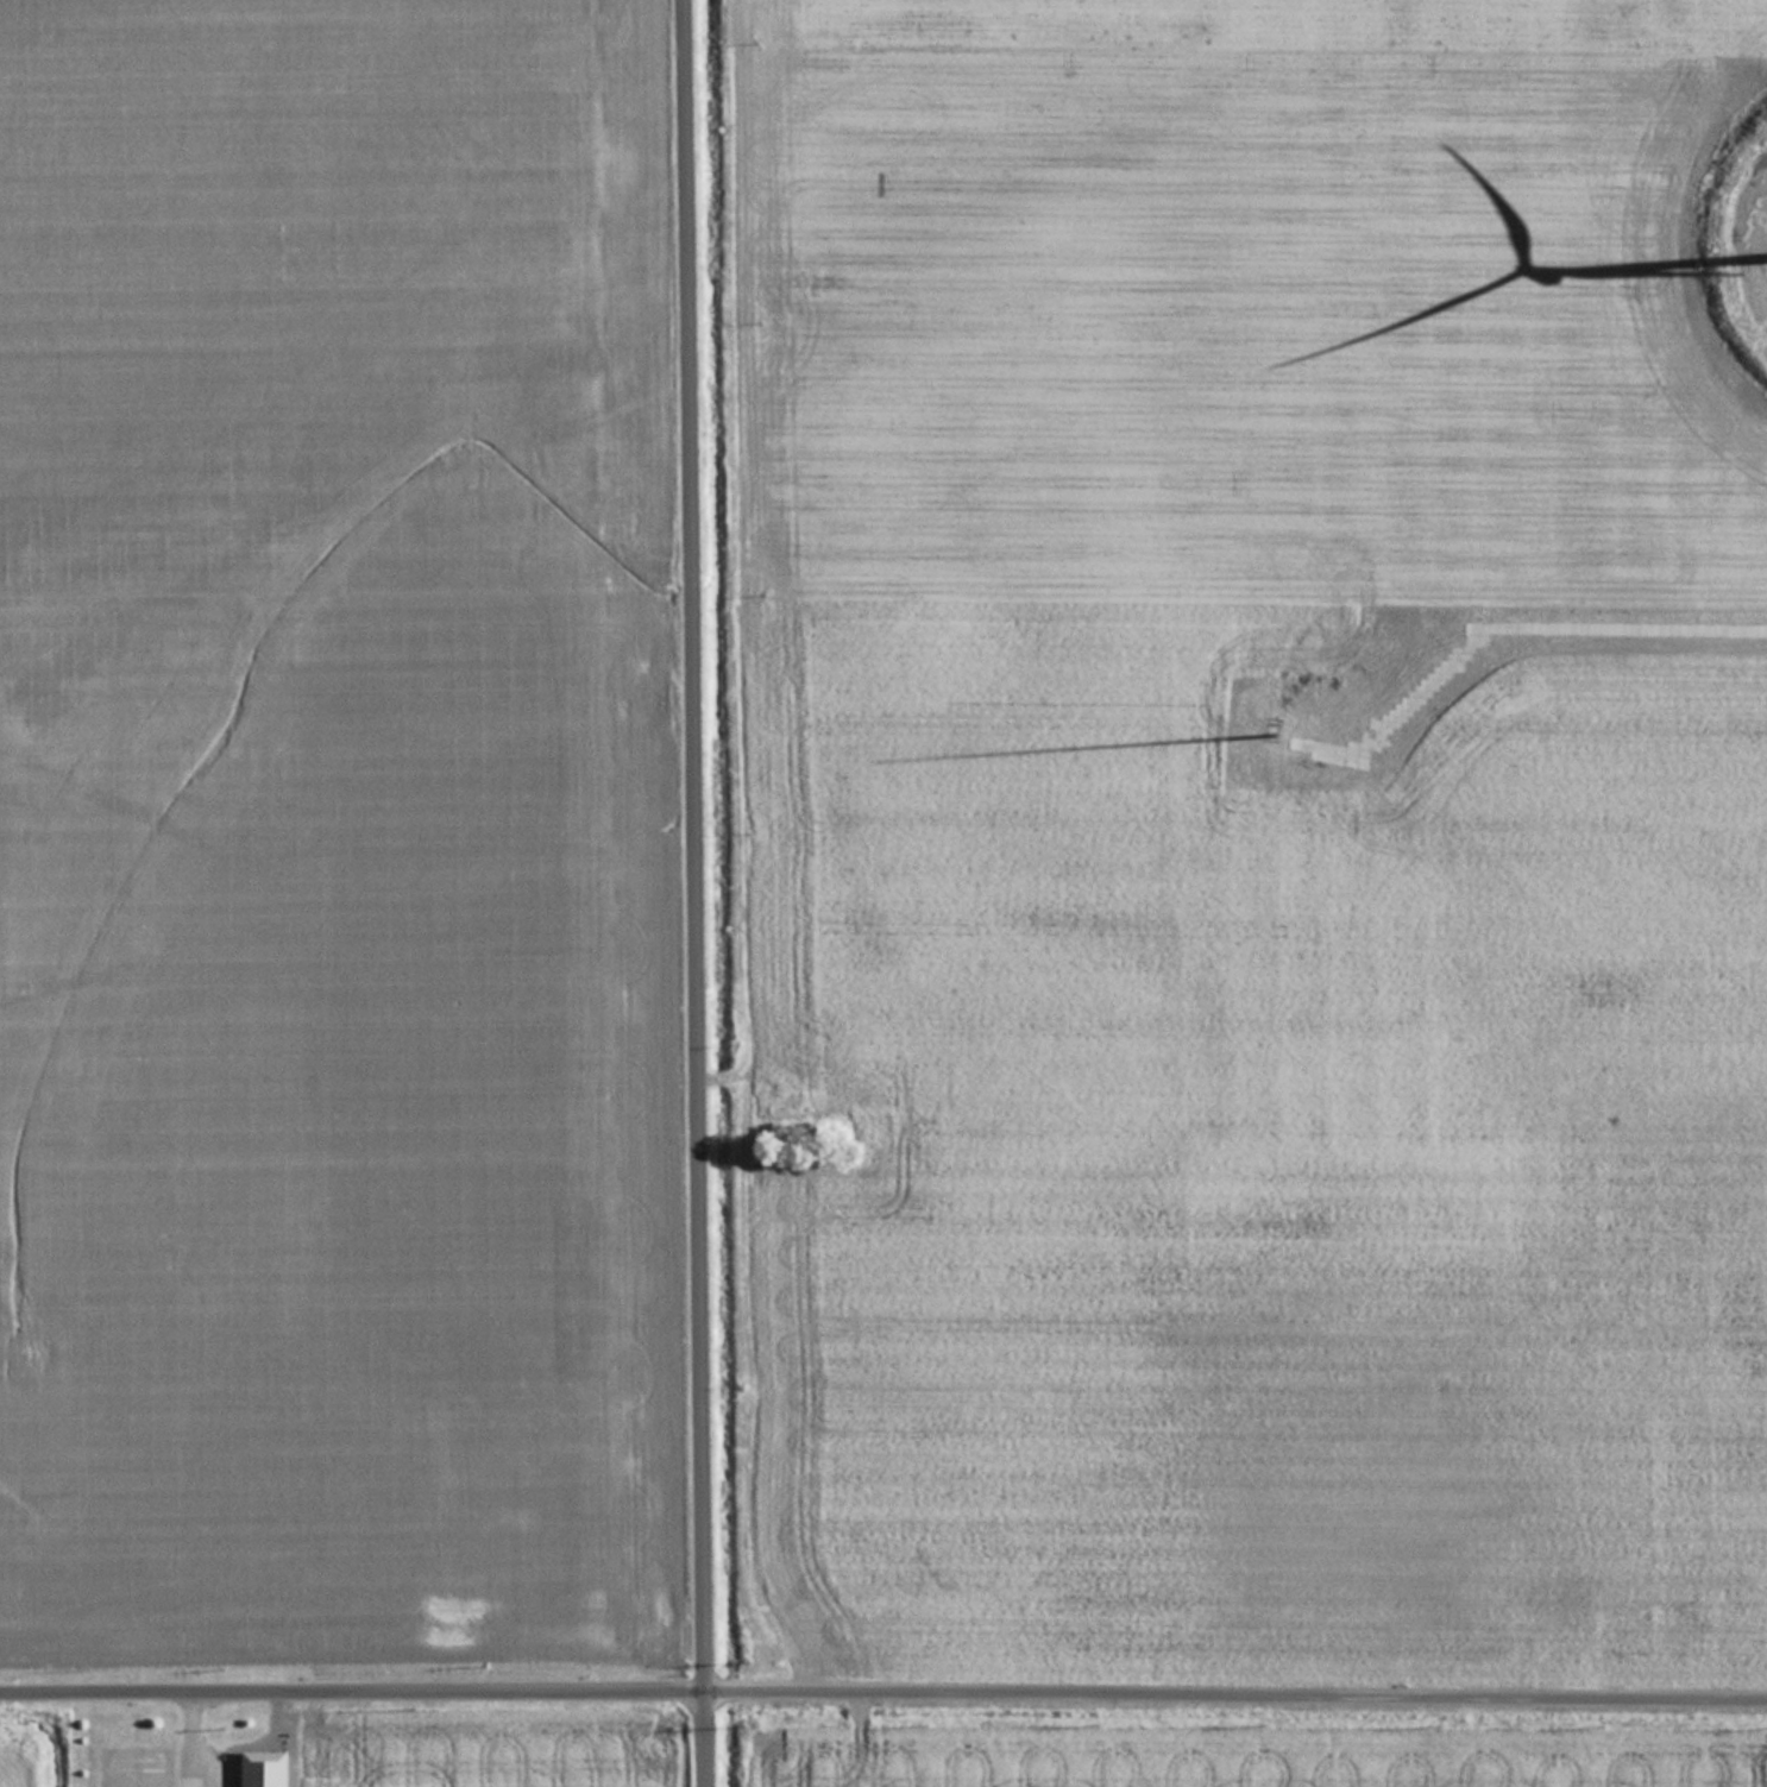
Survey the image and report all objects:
road: (696, 893)
building: (767, 1102)
road: (883, 1697)

